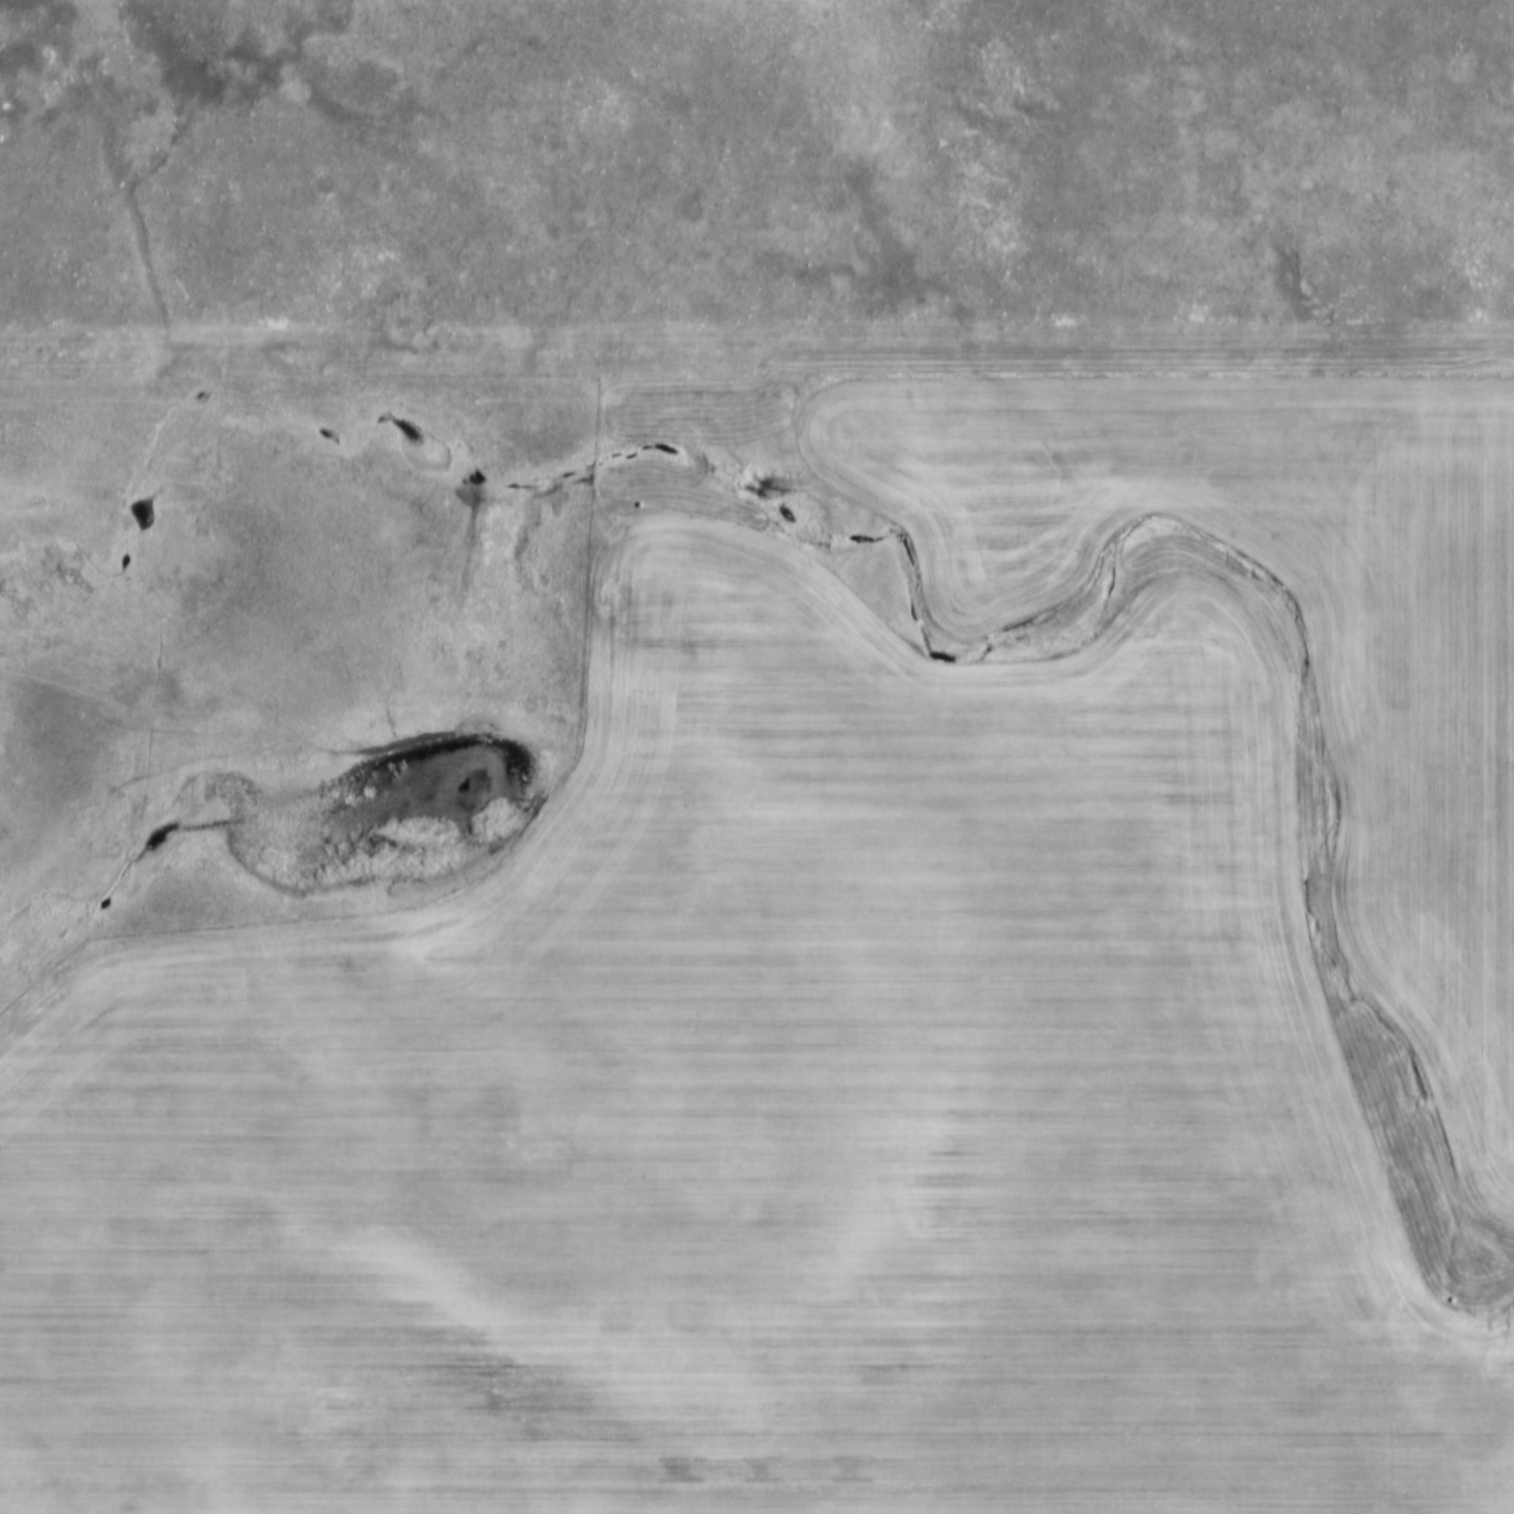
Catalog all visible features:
road: (756, 342)

